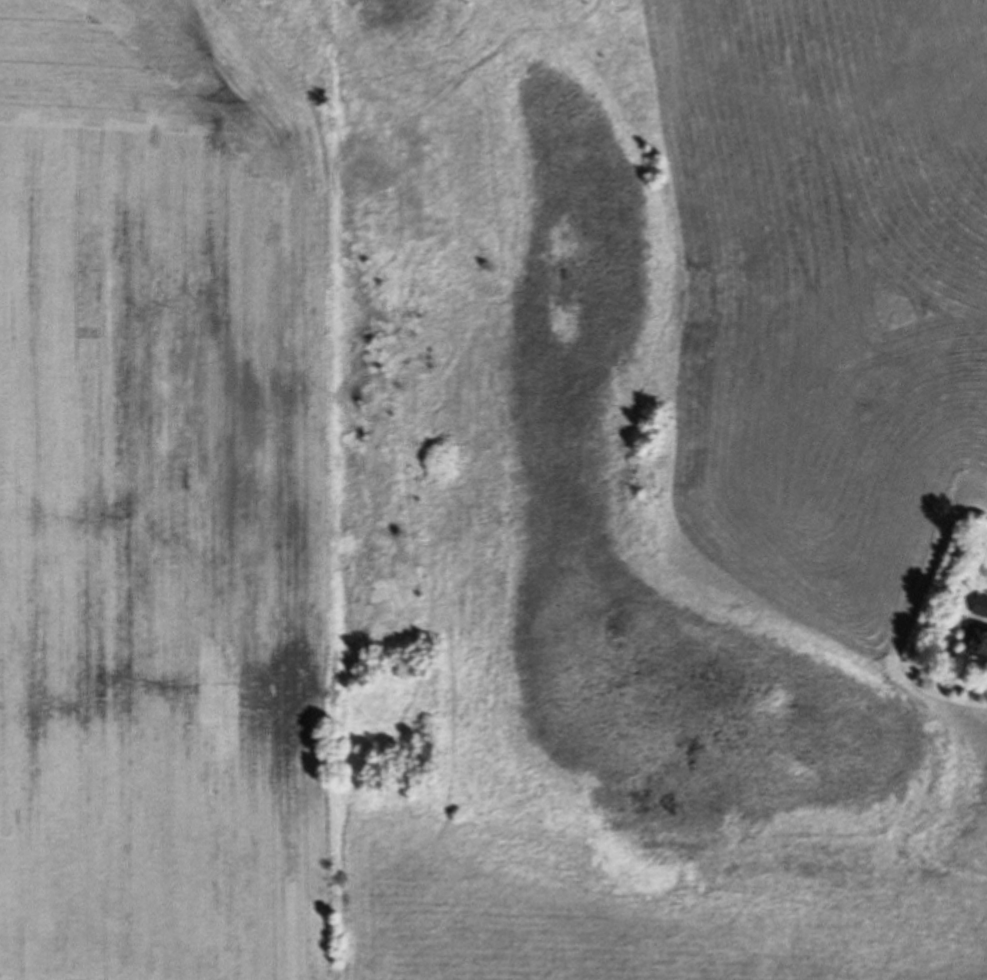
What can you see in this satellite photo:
building: (983, 609)
building: (982, 648)

